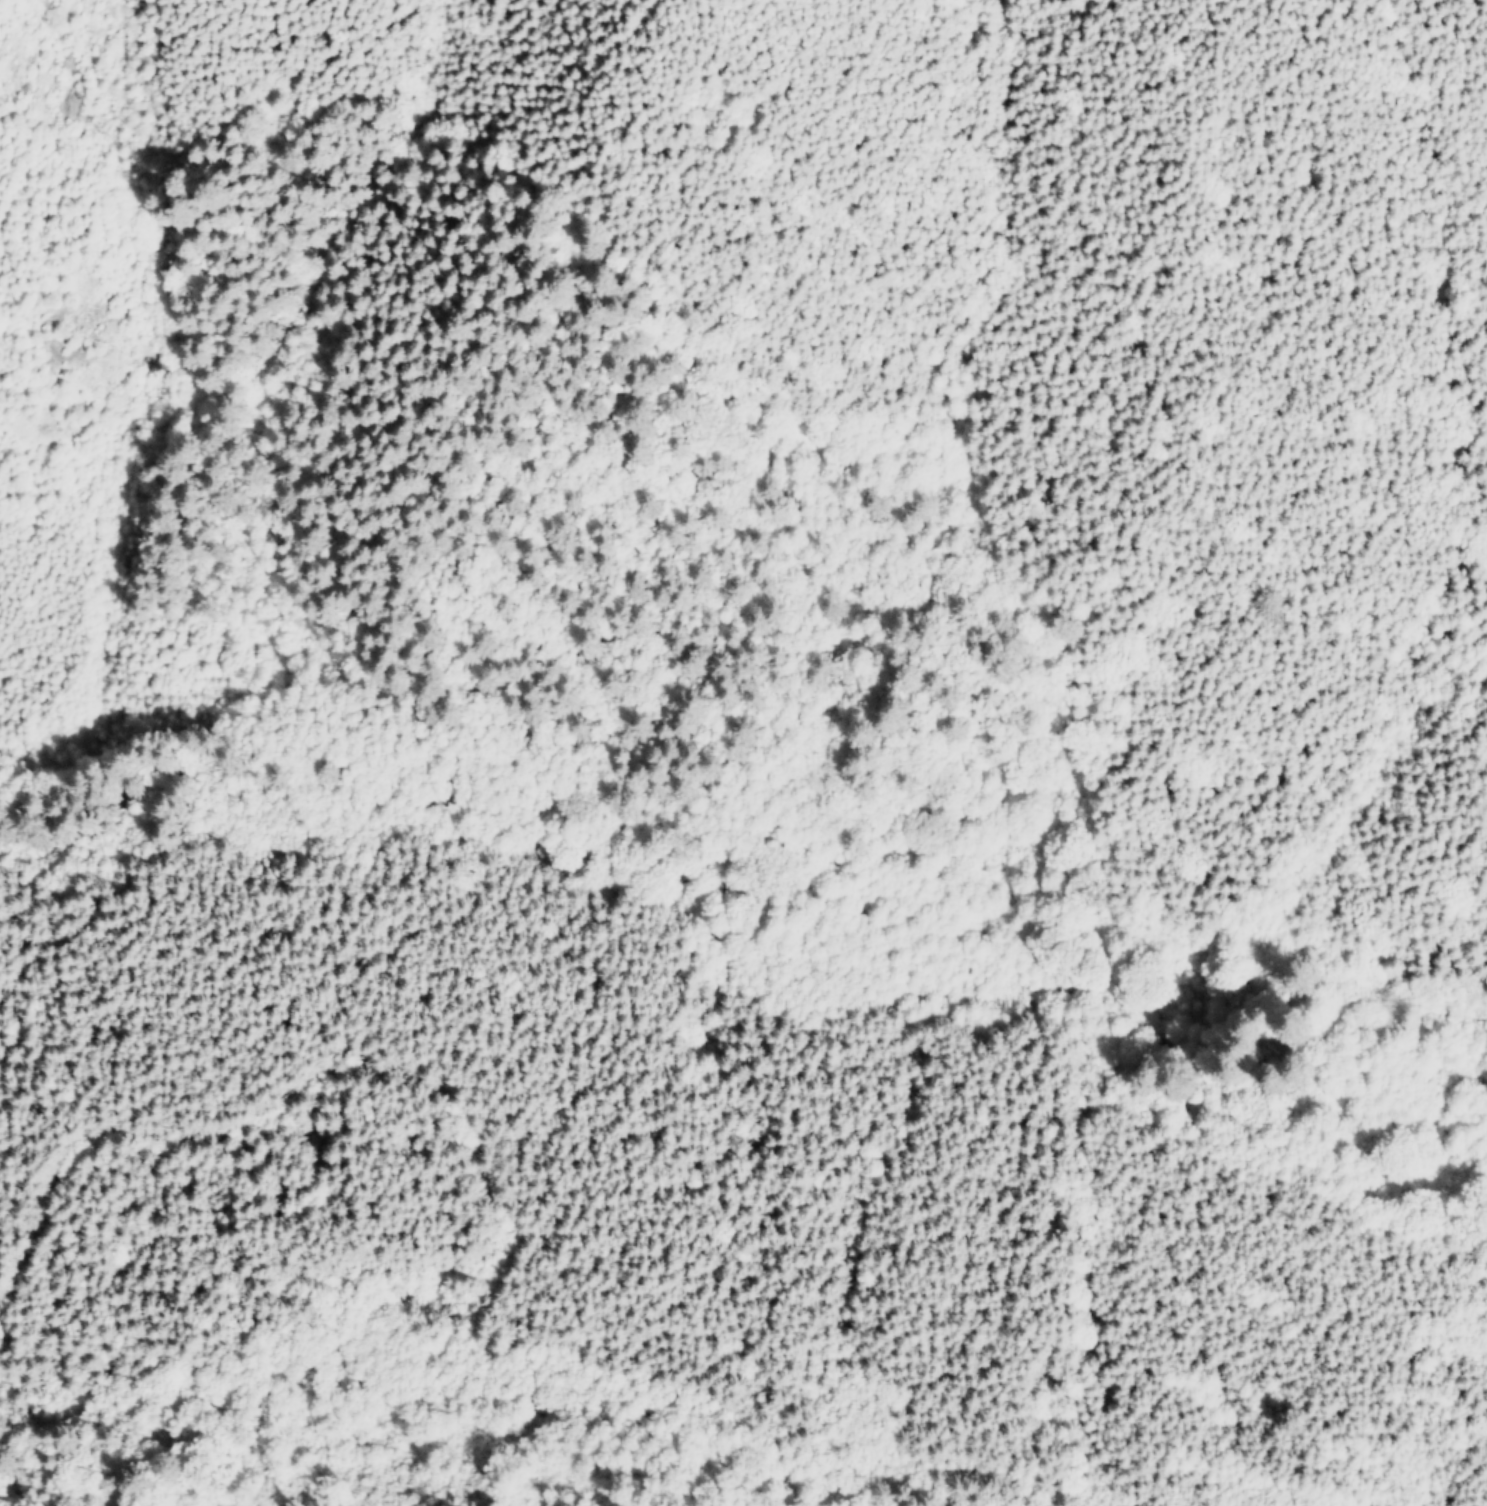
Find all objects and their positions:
road: (410, 1400)

